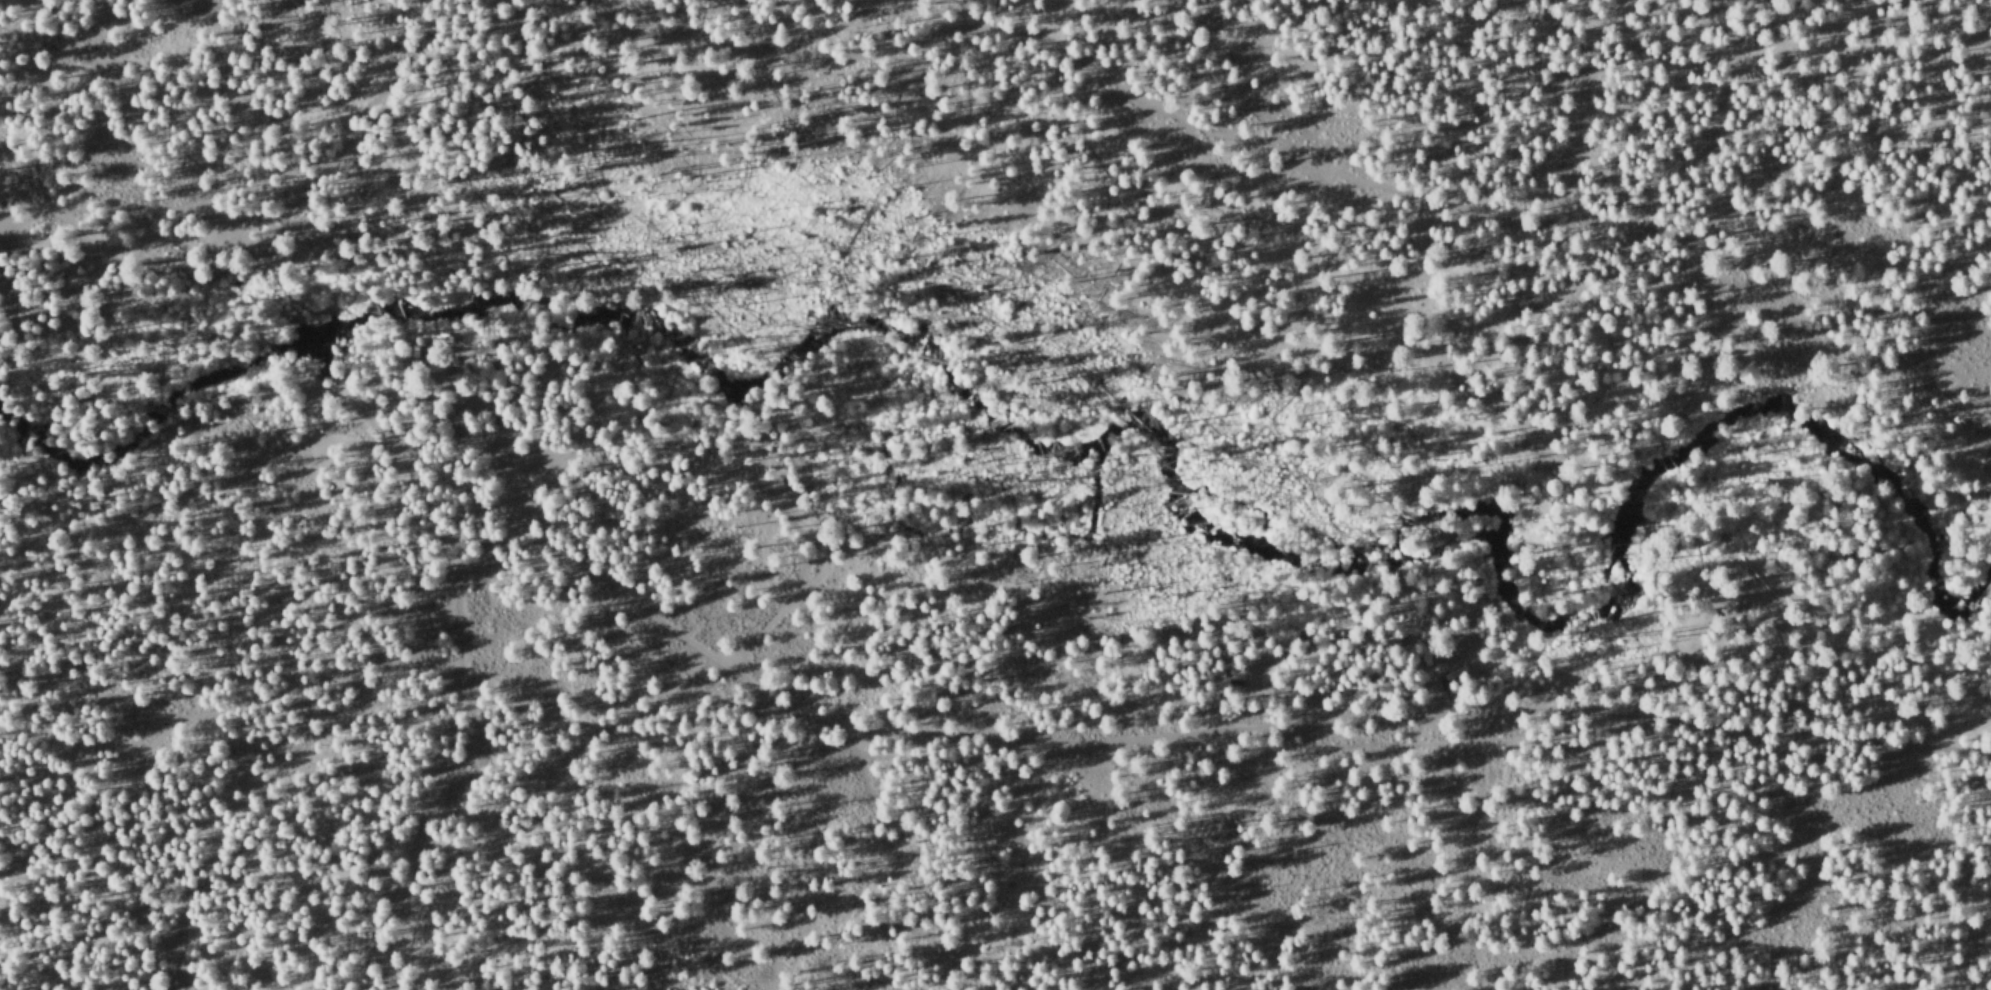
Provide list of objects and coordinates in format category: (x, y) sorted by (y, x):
road: (953, 32)
road: (132, 111)
road: (1215, 728)
road: (435, 763)

